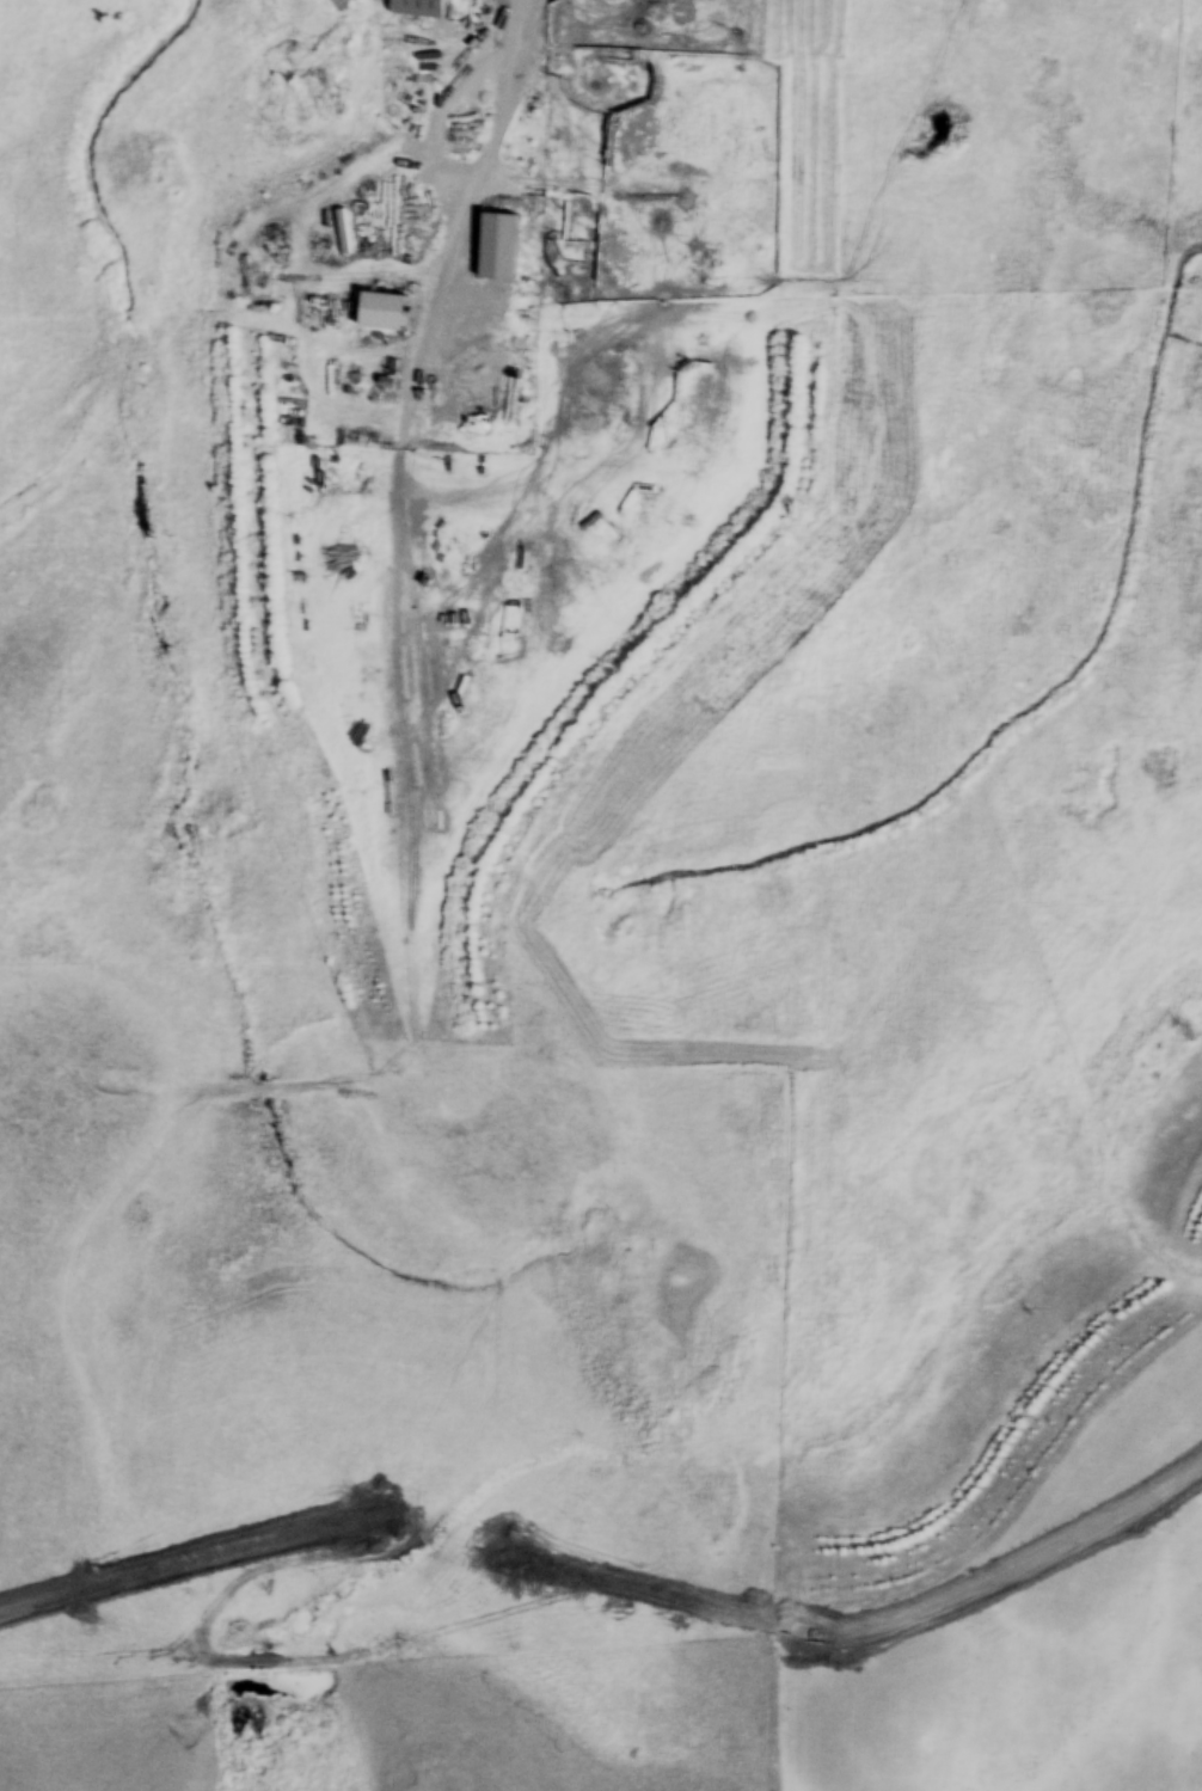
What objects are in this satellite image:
building: (418, 8)
building: (502, 17)
building: (499, 247)

